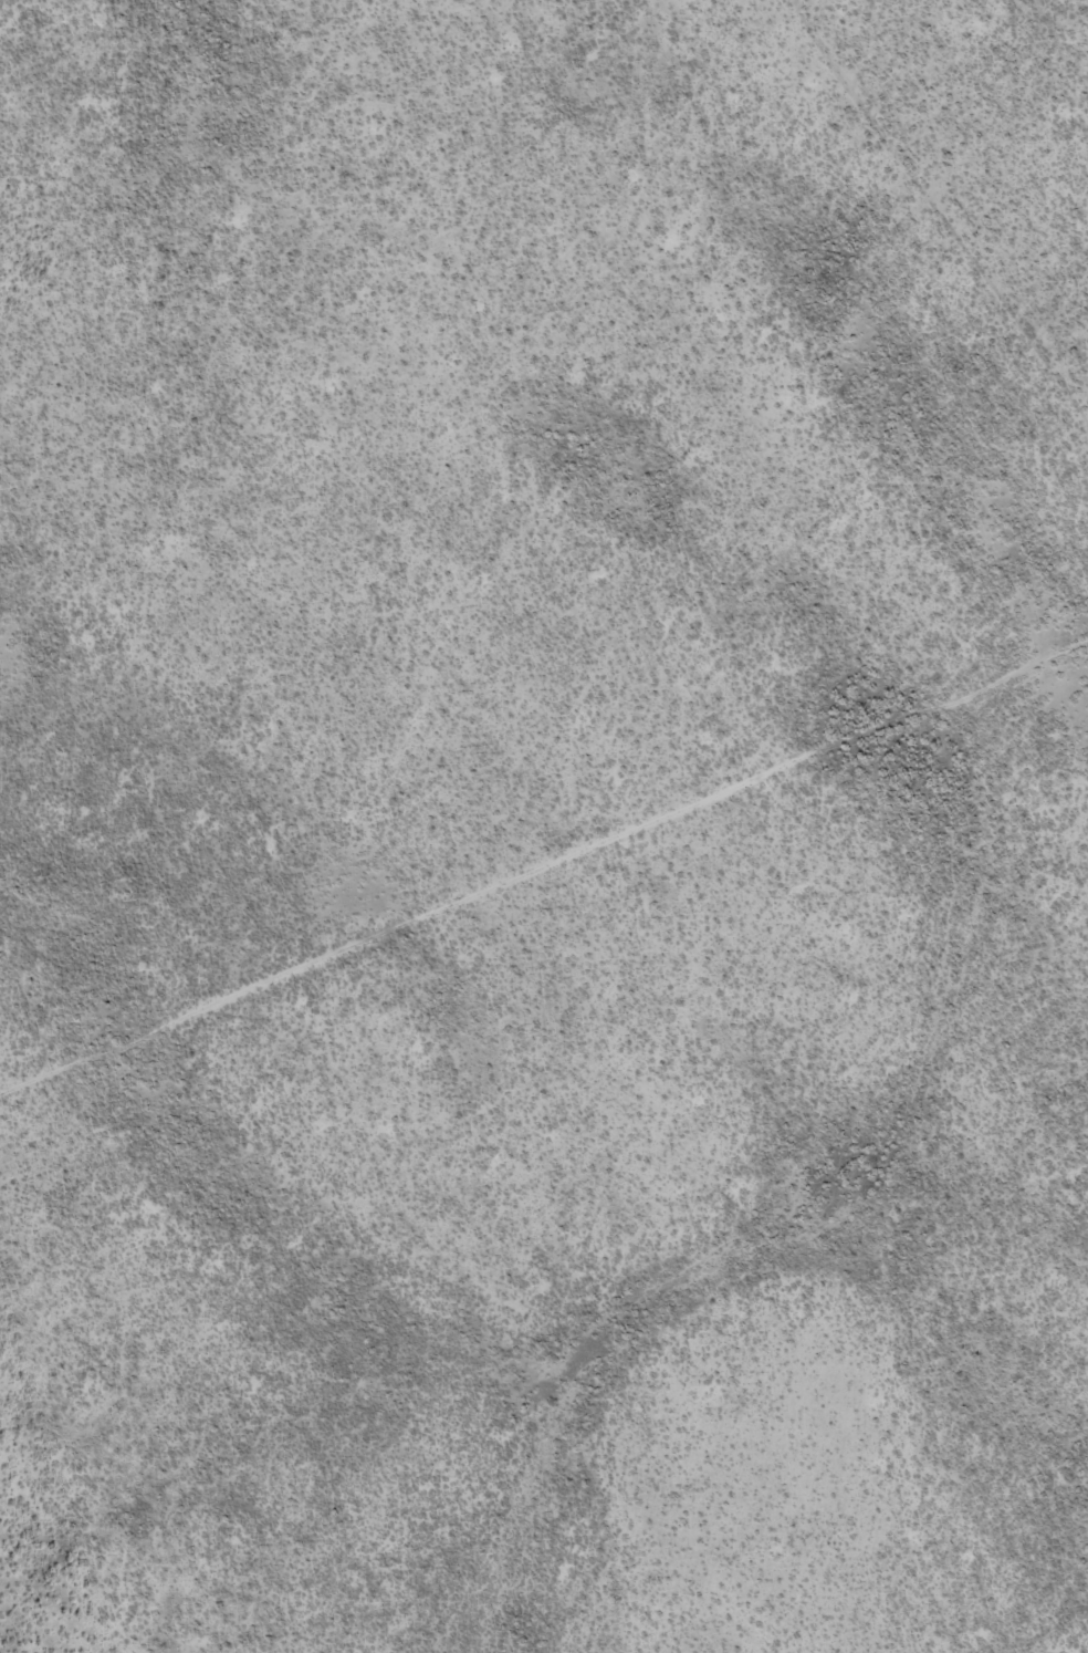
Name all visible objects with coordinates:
road: (938, 206)
road: (542, 860)

